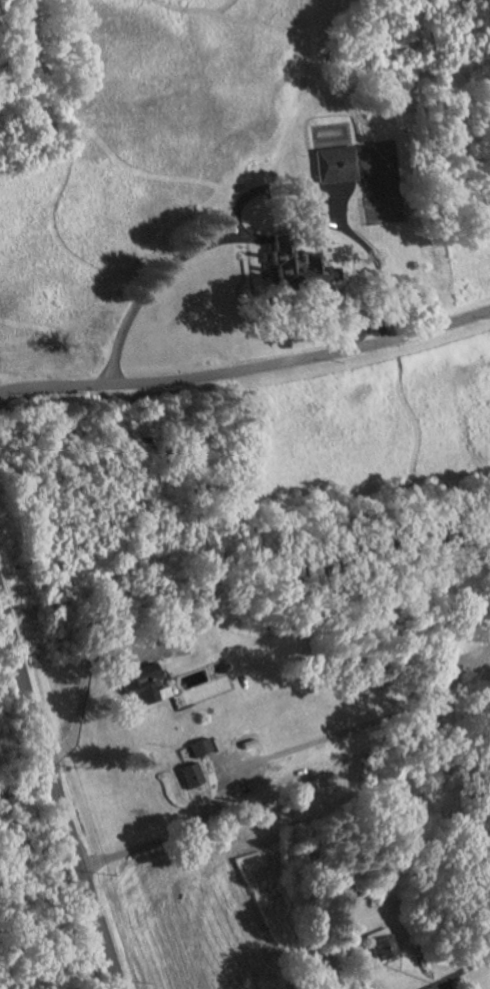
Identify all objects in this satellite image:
park: (380, 180)
road: (239, 203)
building: (294, 270)
road: (380, 329)
road: (363, 332)
road: (247, 367)
building: (132, 679)
road: (82, 702)
building: (195, 747)
road: (285, 750)
building: (186, 775)
road: (62, 792)
building: (374, 947)
road: (466, 962)
road: (429, 982)
road: (439, 982)

